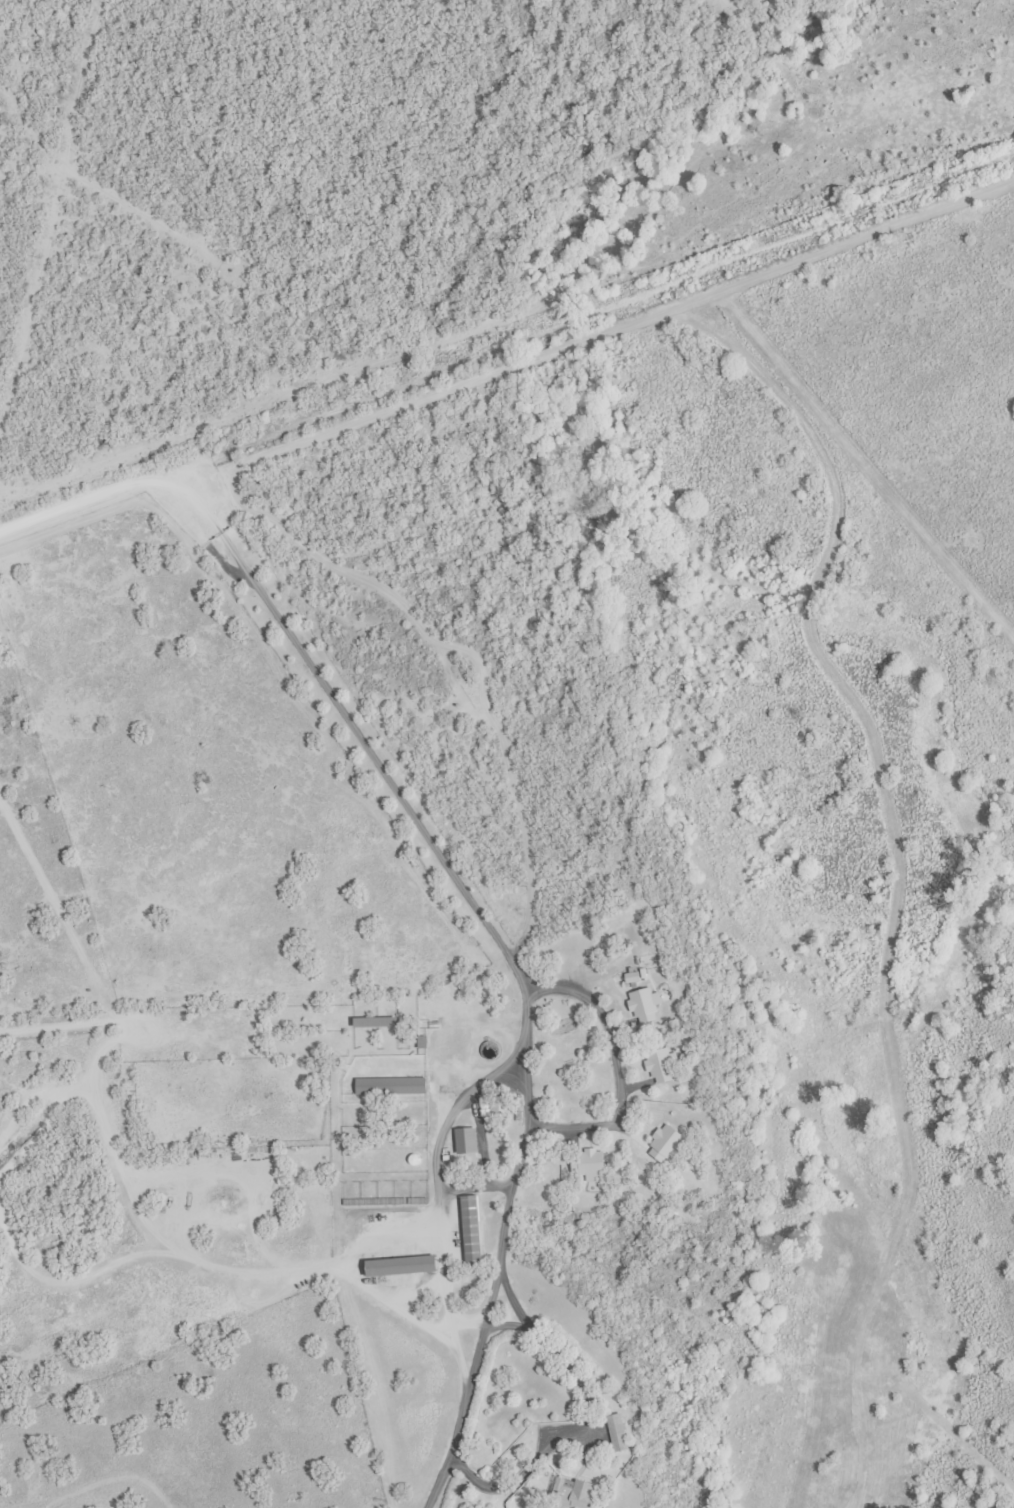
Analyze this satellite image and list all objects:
road: (509, 360)
road: (907, 487)
road: (514, 953)
building: (645, 1005)
building: (376, 1013)
building: (662, 1066)
building: (391, 1086)
building: (466, 1141)
building: (590, 1163)
building: (471, 1230)
building: (401, 1267)
road: (770, 1342)
building: (617, 1434)
building: (574, 1496)

